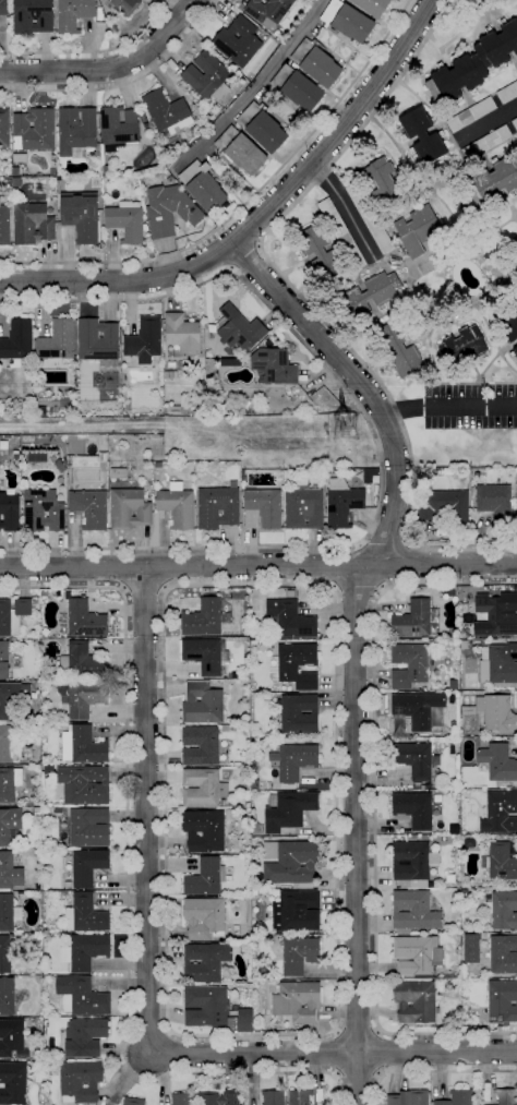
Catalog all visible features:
building: (125, 5)
building: (372, 7)
building: (3, 8)
building: (268, 9)
building: (73, 14)
building: (32, 16)
building: (347, 20)
building: (320, 33)
building: (238, 41)
road: (93, 51)
building: (315, 62)
building: (473, 64)
road: (108, 68)
building: (207, 76)
road: (125, 83)
road: (255, 87)
building: (296, 87)
building: (507, 93)
building: (168, 113)
building: (471, 115)
building: (143, 118)
road: (488, 122)
building: (515, 123)
building: (262, 127)
building: (118, 128)
building: (4, 129)
building: (34, 129)
building: (77, 133)
building: (422, 135)
building: (486, 143)
building: (240, 151)
building: (106, 170)
building: (383, 181)
building: (492, 182)
building: (203, 187)
road: (244, 203)
road: (344, 207)
building: (169, 209)
building: (81, 215)
building: (370, 218)
road: (258, 219)
building: (125, 220)
building: (32, 224)
building: (4, 226)
building: (418, 230)
road: (243, 231)
building: (341, 233)
road: (224, 250)
building: (320, 252)
road: (247, 256)
building: (510, 263)
building: (371, 293)
road: (306, 301)
building: (509, 327)
building: (240, 328)
building: (181, 333)
building: (17, 340)
building: (144, 340)
building: (98, 341)
building: (58, 345)
building: (465, 346)
building: (399, 348)
building: (514, 352)
building: (273, 367)
building: (170, 374)
building: (72, 379)
parking lot: (469, 405)
road: (448, 407)
building: (175, 409)
building: (39, 410)
building: (197, 413)
power tower: (344, 431)
building: (39, 435)
road: (376, 444)
building: (45, 447)
building: (103, 457)
building: (157, 465)
building: (59, 466)
building: (118, 473)
building: (375, 479)
building: (341, 503)
building: (495, 503)
building: (177, 505)
building: (444, 506)
building: (88, 507)
building: (217, 507)
building: (262, 507)
building: (304, 507)
building: (129, 508)
building: (41, 511)
building: (9, 513)
road: (387, 541)
road: (405, 563)
road: (257, 565)
road: (112, 568)
road: (335, 568)
road: (163, 569)
road: (144, 590)
road: (356, 590)
building: (290, 593)
building: (36, 600)
building: (13, 614)
building: (496, 614)
building: (205, 617)
building: (84, 618)
building: (414, 618)
building: (290, 620)
road: (354, 640)
building: (204, 654)
building: (3, 660)
building: (82, 662)
building: (498, 663)
building: (294, 664)
building: (409, 665)
building: (13, 696)
building: (82, 697)
building: (202, 704)
building: (416, 711)
building: (299, 713)
building: (494, 713)
building: (275, 717)
building: (277, 736)
building: (402, 738)
building: (9, 744)
building: (83, 745)
building: (200, 745)
building: (413, 758)
building: (292, 760)
building: (497, 762)
building: (237, 764)
building: (48, 769)
building: (452, 782)
building: (9, 783)
building: (84, 784)
building: (254, 784)
building: (428, 785)
building: (202, 788)
building: (28, 803)
road: (147, 808)
building: (413, 808)
building: (288, 809)
road: (374, 809)
building: (36, 810)
building: (500, 812)
building: (10, 826)
building: (85, 827)
building: (204, 830)
building: (407, 831)
building: (472, 849)
building: (500, 862)
building: (292, 863)
building: (412, 863)
building: (88, 866)
building: (9, 873)
building: (205, 877)
building: (68, 884)
road: (128, 893)
building: (504, 910)
building: (413, 911)
building: (8, 912)
building: (296, 912)
building: (85, 914)
building: (204, 917)
building: (457, 928)
building: (278, 932)
building: (84, 951)
building: (244, 951)
building: (298, 953)
building: (5, 954)
building: (501, 956)
building: (418, 957)
building: (205, 961)
building: (263, 970)
building: (7, 996)
building: (81, 996)
building: (503, 999)
building: (297, 1001)
building: (416, 1002)
building: (205, 1006)
building: (244, 1020)
road: (336, 1030)
road: (358, 1030)
building: (84, 1036)
building: (12, 1038)
road: (334, 1053)
road: (335, 1053)
road: (380, 1053)
road: (433, 1071)
road: (357, 1077)
building: (80, 1081)
building: (12, 1083)
building: (506, 1096)
building: (218, 1097)
building: (273, 1097)
building: (299, 1097)
building: (408, 1097)
building: (457, 1097)
building: (182, 1098)
building: (133, 1101)

